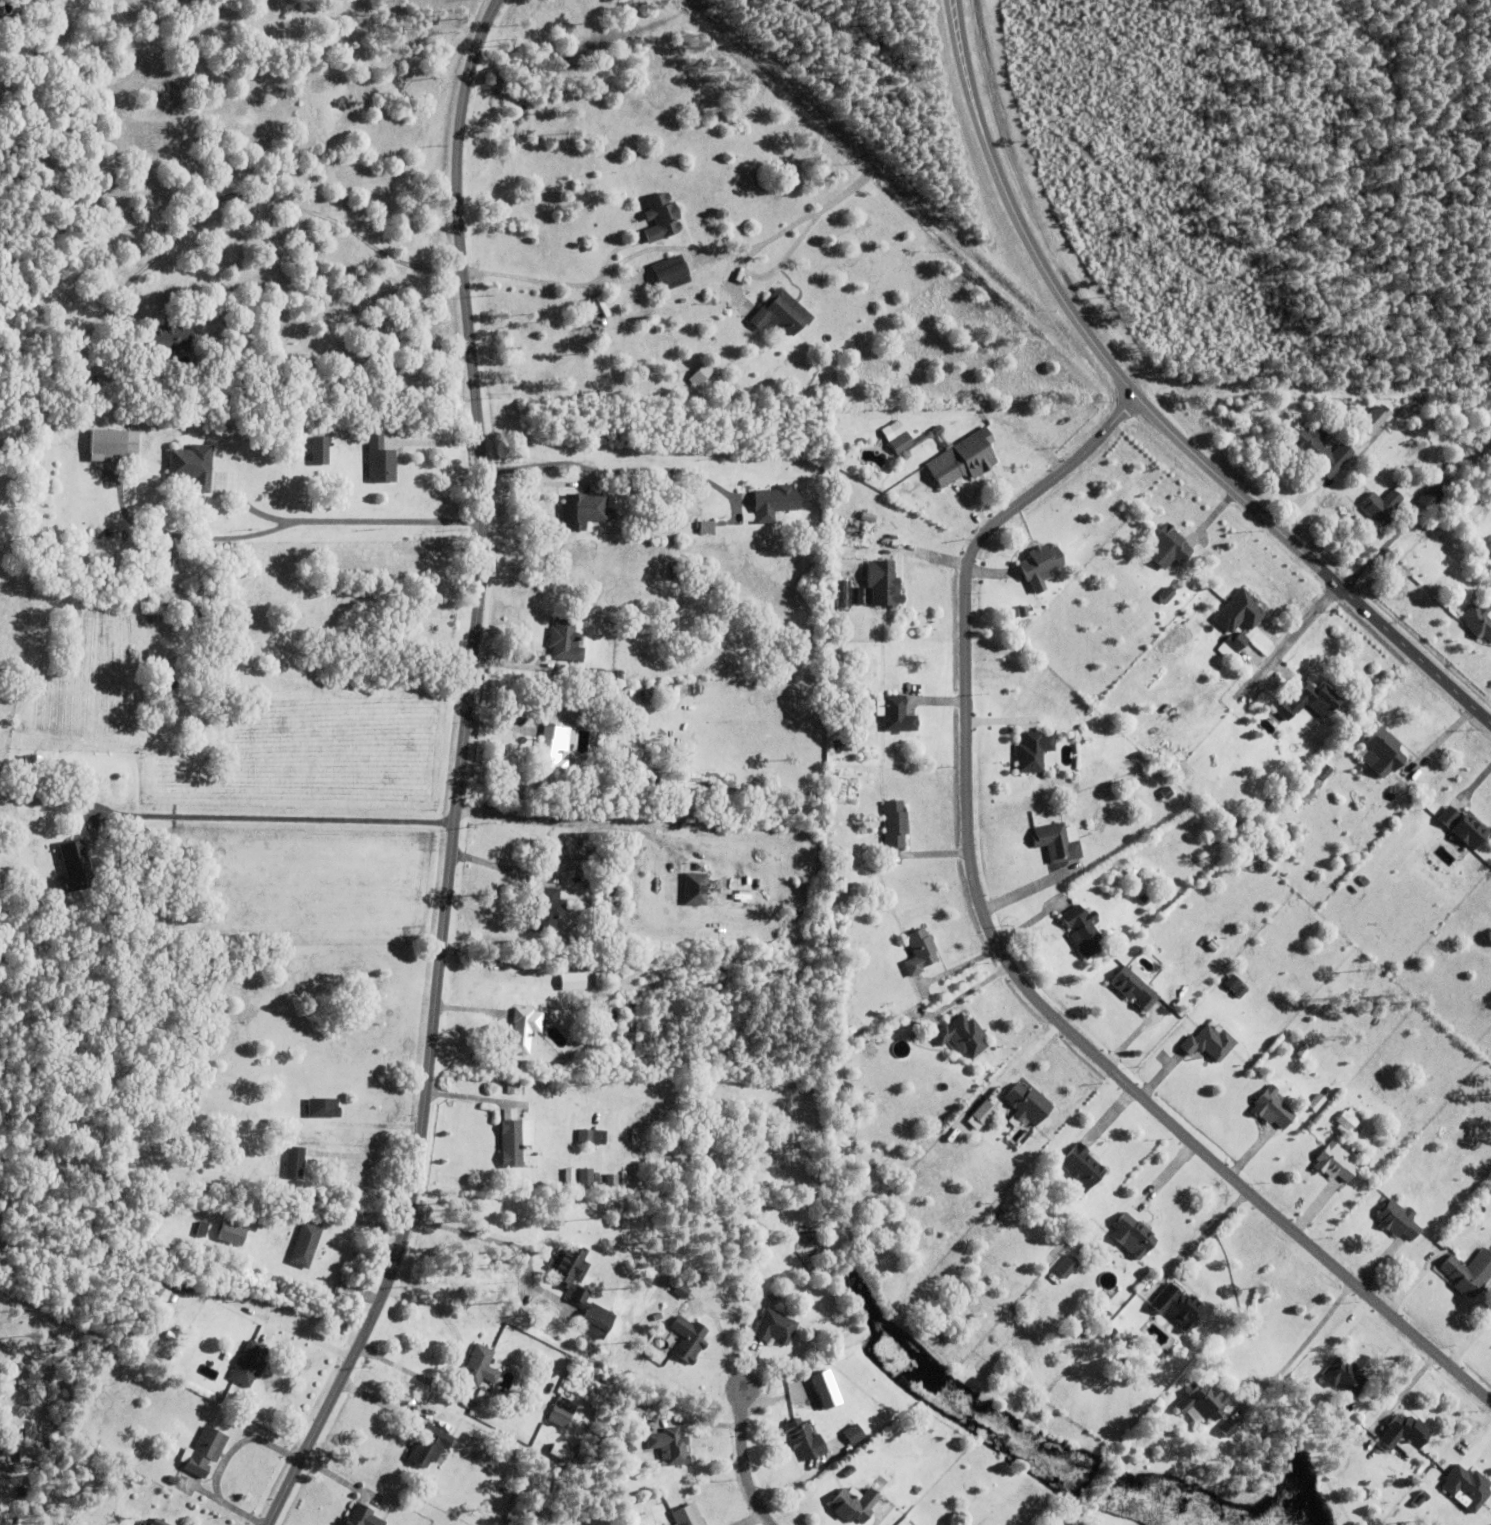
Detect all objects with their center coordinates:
building: (0, 22)
road: (784, 83)
building: (660, 215)
road: (674, 244)
building: (670, 271)
building: (602, 305)
building: (590, 306)
building: (781, 311)
building: (169, 335)
building: (700, 379)
building: (104, 388)
road: (1148, 411)
building: (1371, 420)
building: (900, 441)
building: (114, 443)
building: (320, 448)
building: (1319, 450)
building: (963, 457)
building: (381, 458)
building: (193, 464)
road: (615, 470)
building: (1432, 495)
building: (773, 501)
building: (1382, 505)
building: (583, 509)
road: (345, 520)
building: (706, 526)
road: (190, 538)
building: (1169, 546)
building: (1041, 564)
building: (677, 569)
building: (883, 582)
building: (843, 594)
building: (1167, 594)
building: (1023, 610)
building: (192, 612)
building: (1236, 612)
building: (1246, 620)
building: (1478, 620)
building: (565, 639)
building: (596, 674)
building: (169, 675)
road: (1253, 675)
building: (651, 695)
building: (1309, 700)
building: (896, 713)
building: (1051, 721)
building: (836, 725)
building: (552, 748)
building: (1034, 750)
building: (1383, 751)
building: (38, 761)
building: (1186, 772)
road: (453, 775)
building: (1316, 780)
building: (1167, 792)
building: (683, 813)
road: (272, 815)
road: (569, 819)
building: (895, 823)
building: (1463, 825)
building: (1057, 842)
building: (563, 859)
building: (76, 864)
building: (838, 864)
building: (1133, 872)
building: (1118, 880)
building: (695, 888)
building: (1144, 898)
building: (546, 910)
building: (1084, 930)
building: (920, 951)
road: (1007, 963)
building: (599, 980)
building: (1232, 982)
building: (1134, 986)
building: (1240, 991)
building: (609, 1014)
building: (629, 1025)
building: (522, 1030)
building: (962, 1036)
building: (1210, 1042)
building: (1303, 1052)
building: (845, 1085)
building: (514, 1086)
building: (1317, 1102)
building: (1026, 1104)
building: (324, 1107)
building: (1273, 1108)
building: (983, 1112)
building: (1351, 1112)
building: (1344, 1120)
building: (1391, 1130)
building: (592, 1136)
building: (515, 1141)
building: (1442, 1152)
road: (361, 1154)
building: (295, 1162)
building: (1336, 1162)
building: (1083, 1167)
building: (570, 1175)
building: (586, 1177)
building: (596, 1179)
building: (610, 1182)
building: (1007, 1208)
building: (1398, 1219)
building: (232, 1233)
building: (1133, 1235)
road: (495, 1238)
building: (306, 1245)
building: (755, 1248)
building: (1067, 1267)
building: (1469, 1272)
building: (580, 1289)
building: (681, 1291)
building: (163, 1294)
building: (1178, 1307)
road: (429, 1310)
building: (776, 1326)
building: (689, 1339)
road: (1301, 1346)
building: (1317, 1350)
building: (250, 1364)
building: (480, 1369)
building: (1345, 1376)
building: (830, 1389)
building: (1203, 1403)
building: (627, 1407)
building: (558, 1413)
building: (1227, 1429)
building: (852, 1432)
building: (1406, 1435)
building: (804, 1438)
building: (429, 1446)
building: (670, 1446)
building: (632, 1447)
road: (746, 1451)
building: (206, 1452)
building: (841, 1454)
building: (30, 1455)
building: (173, 1480)
building: (1459, 1485)
building: (1404, 1488)
building: (23, 1491)
building: (1420, 1499)
building: (854, 1505)
building: (19, 1508)
building: (142, 1513)
building: (688, 1515)
building: (362, 1517)
building: (159, 1522)

